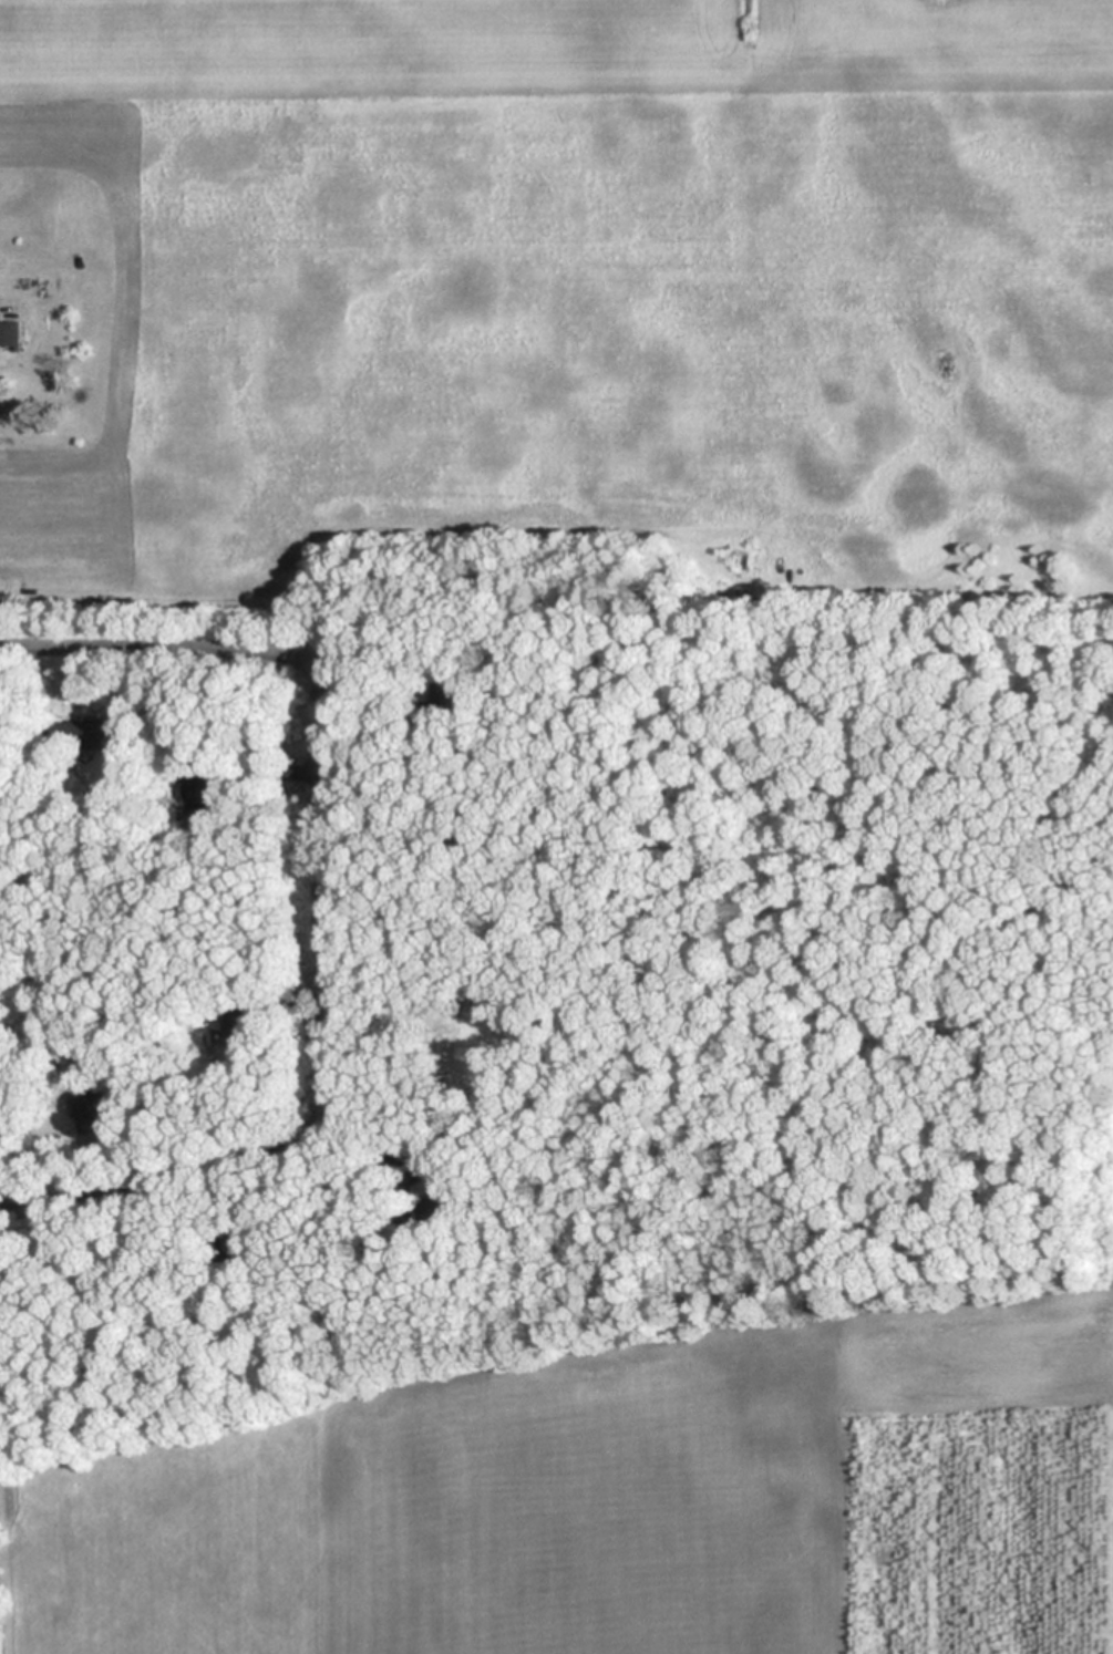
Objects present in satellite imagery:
building: (12, 333)
road: (155, 649)
road: (324, 919)
road: (138, 1180)

